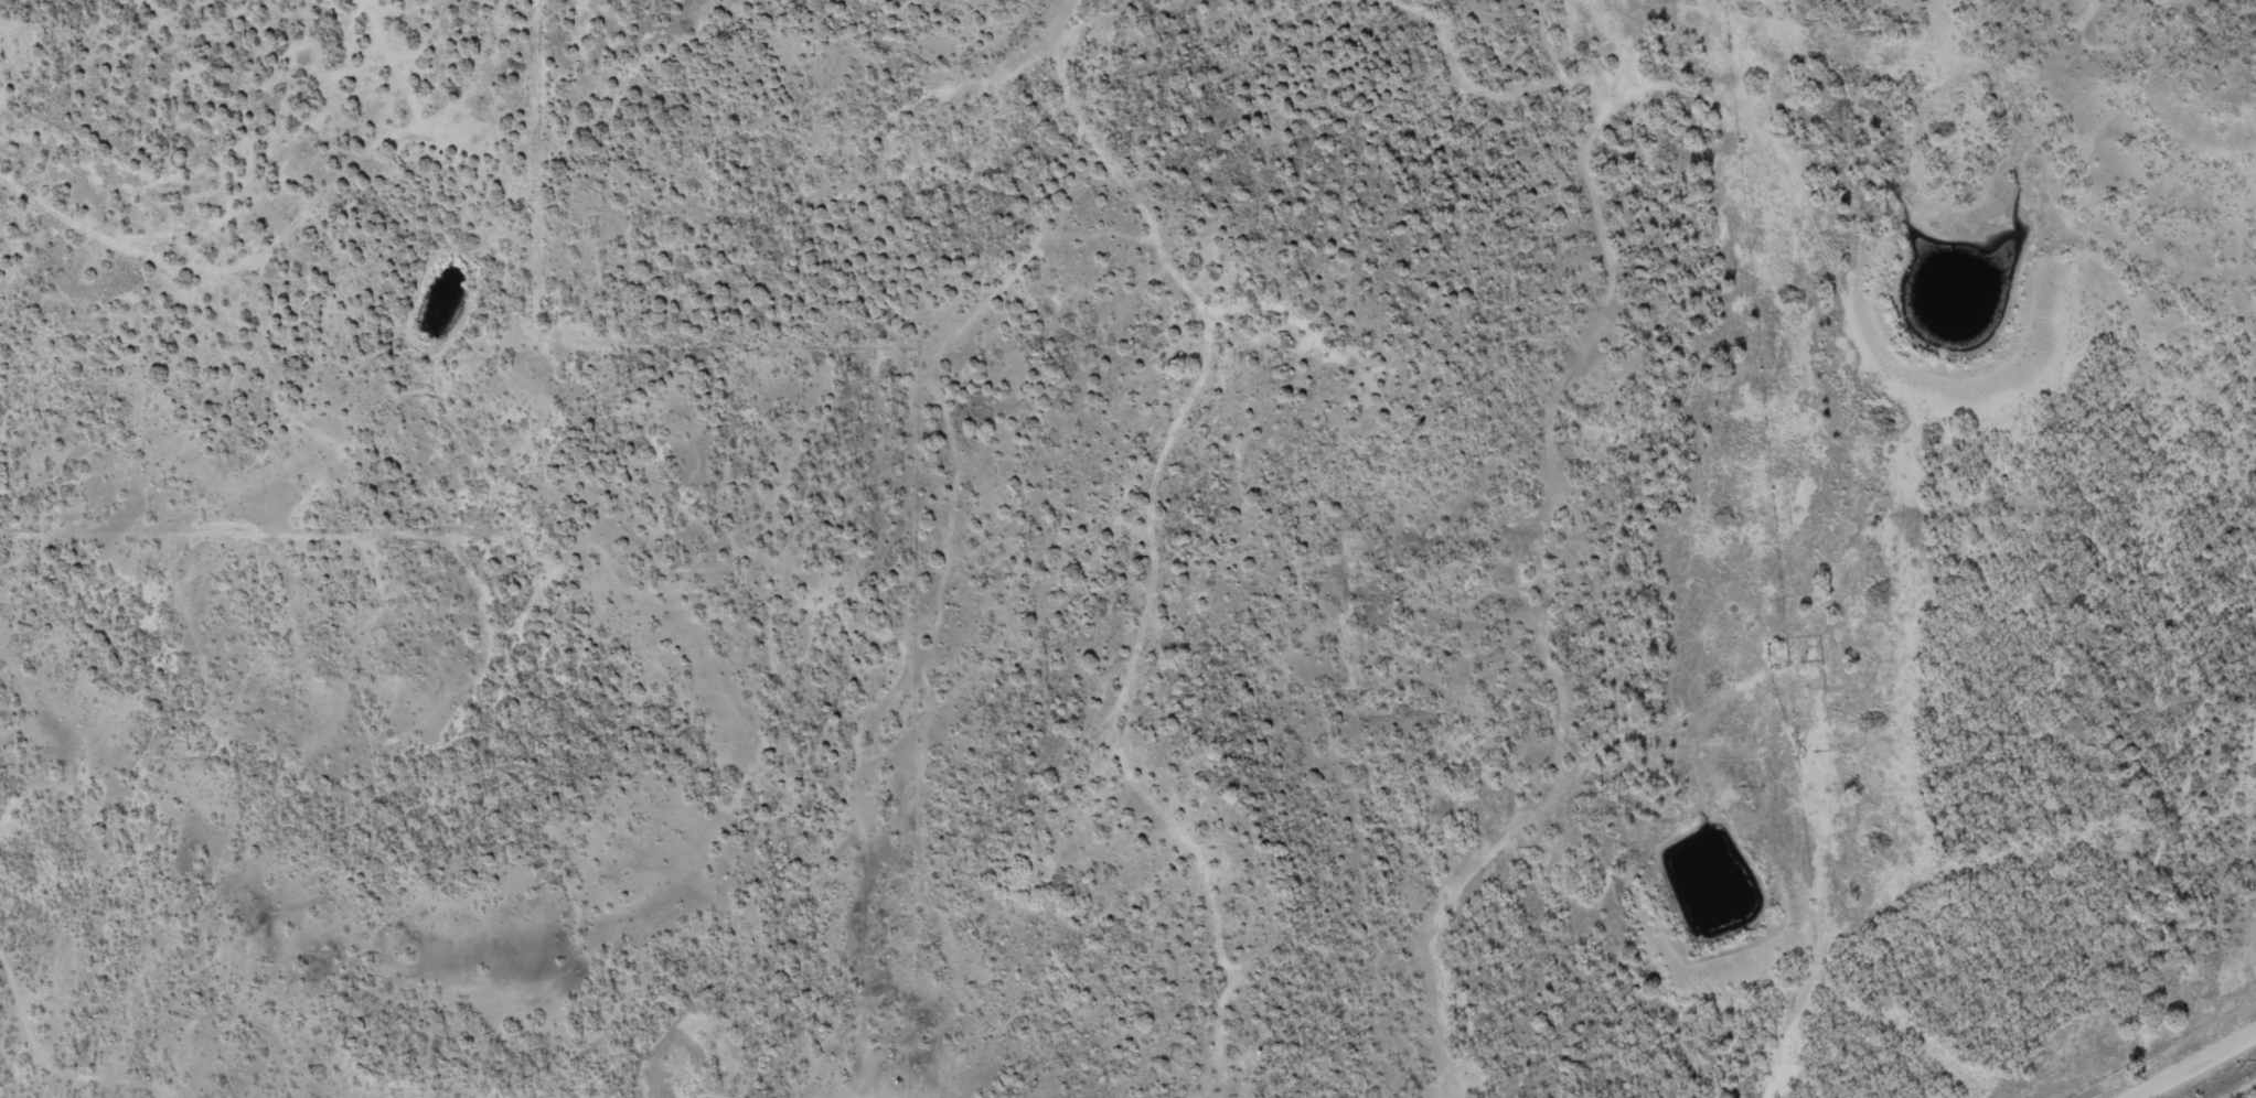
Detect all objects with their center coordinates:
road: (2193, 1064)

